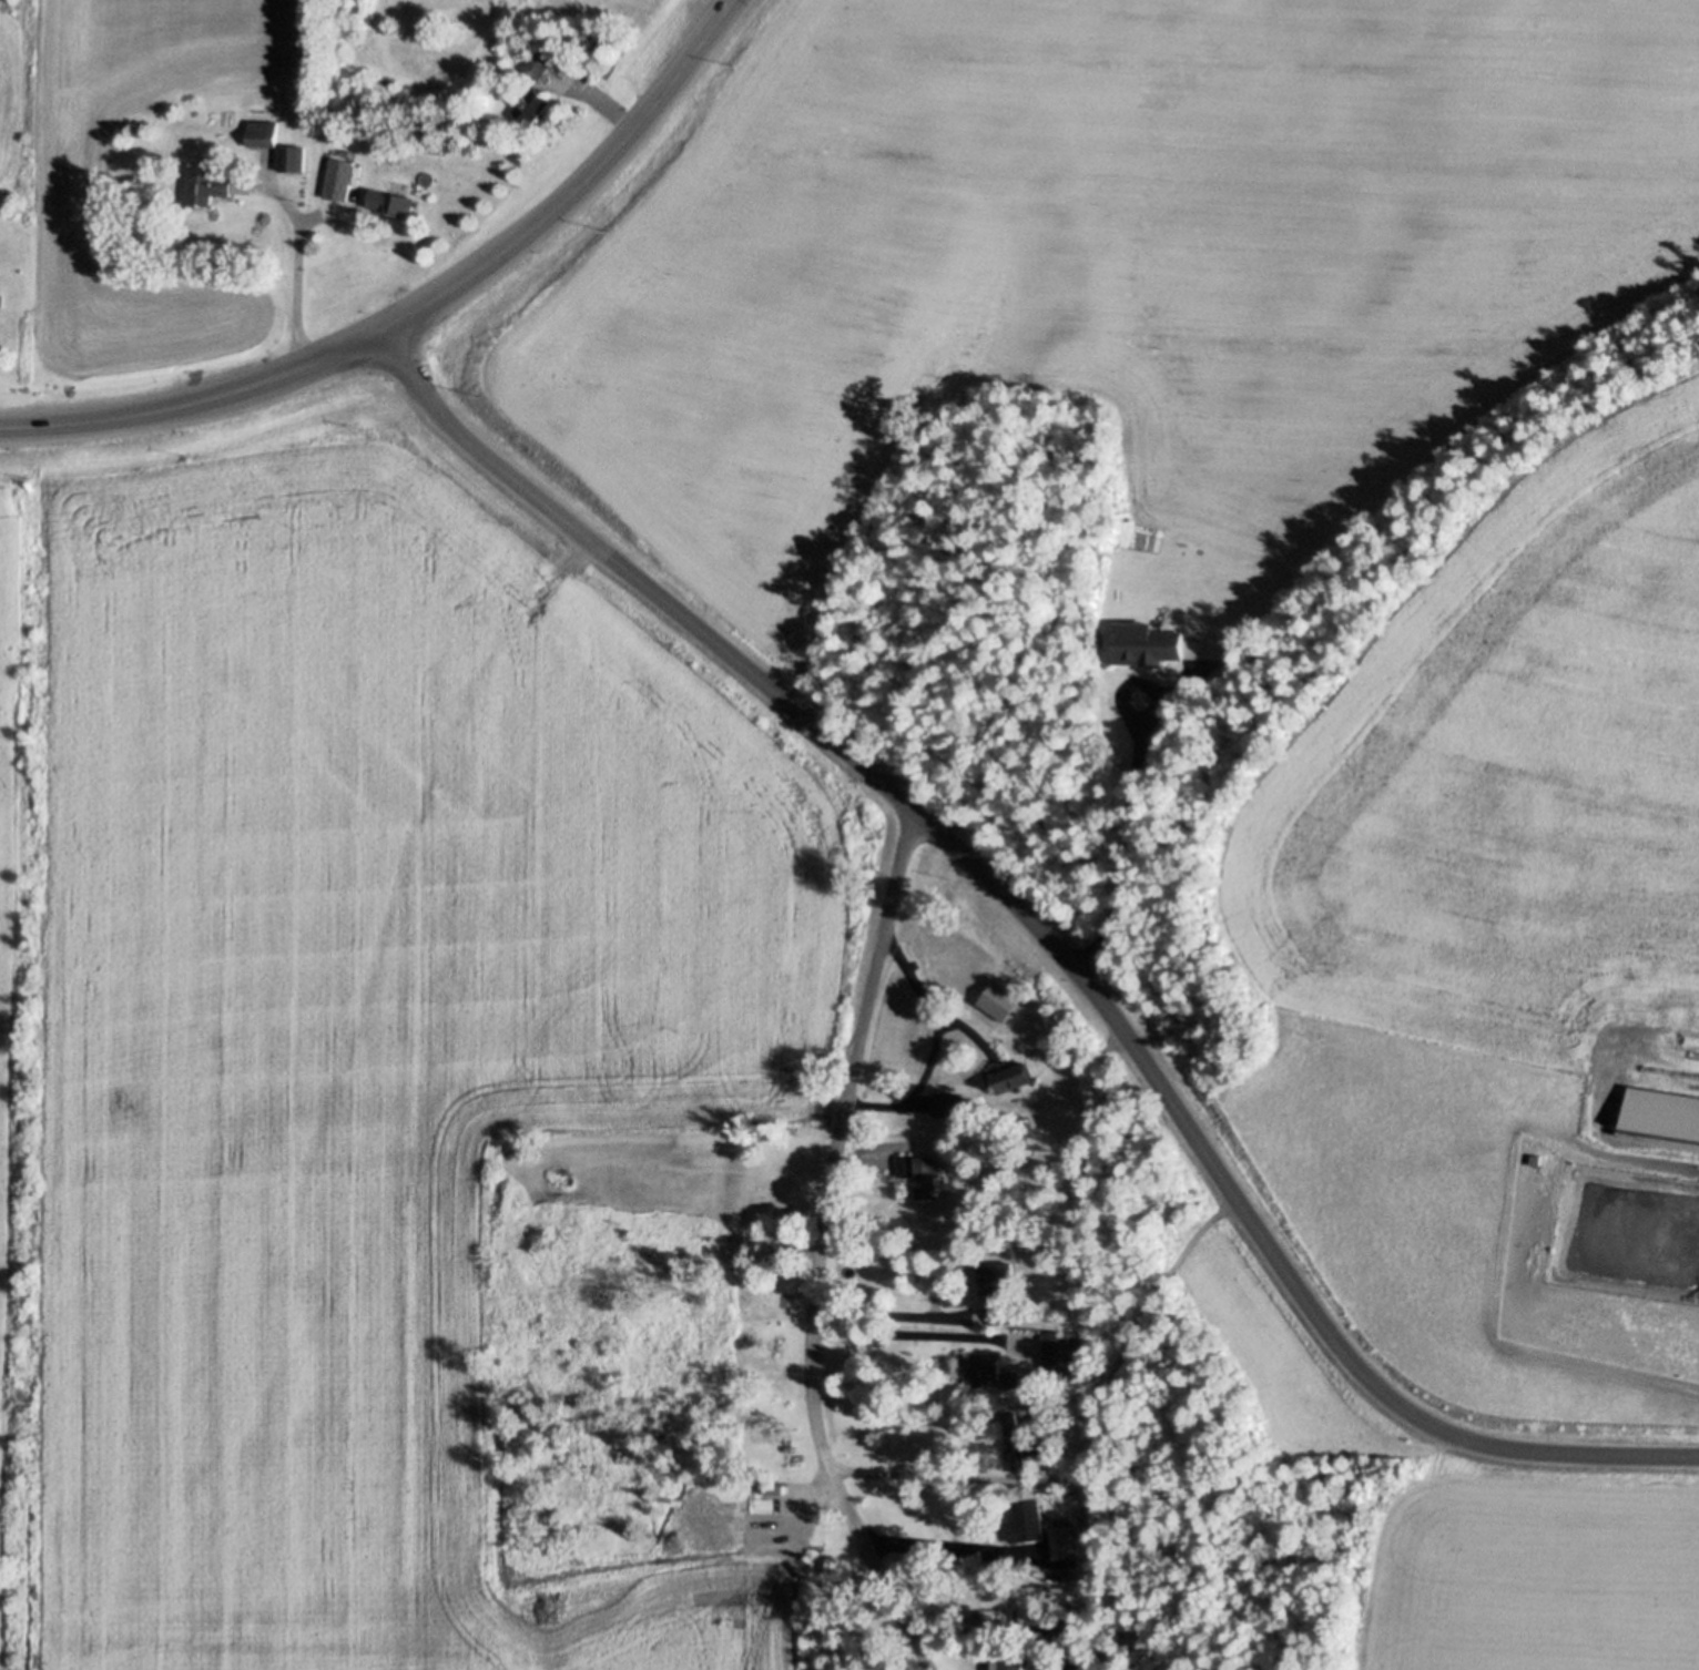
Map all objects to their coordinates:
building: (541, 60)
building: (387, 84)
building: (533, 104)
building: (264, 132)
building: (339, 135)
building: (294, 157)
building: (340, 177)
building: (210, 186)
building: (394, 202)
road: (304, 272)
road: (418, 316)
building: (1147, 643)
road: (1113, 835)
road: (1045, 934)
crop: (9, 941)
building: (1000, 999)
building: (1011, 1077)
building: (946, 1102)
building: (925, 1175)
road: (818, 1249)
building: (997, 1276)
road: (892, 1307)
building: (999, 1311)
building: (1078, 1313)
road: (916, 1330)
building: (1055, 1342)
building: (994, 1374)
building: (886, 1392)
building: (1059, 1417)
building: (1031, 1422)
building: (1013, 1438)
road: (914, 1467)
building: (1025, 1518)
building: (1060, 1539)
road: (939, 1542)
building: (1064, 1572)
building: (1031, 1602)
building: (1061, 1628)
building: (1010, 1660)

